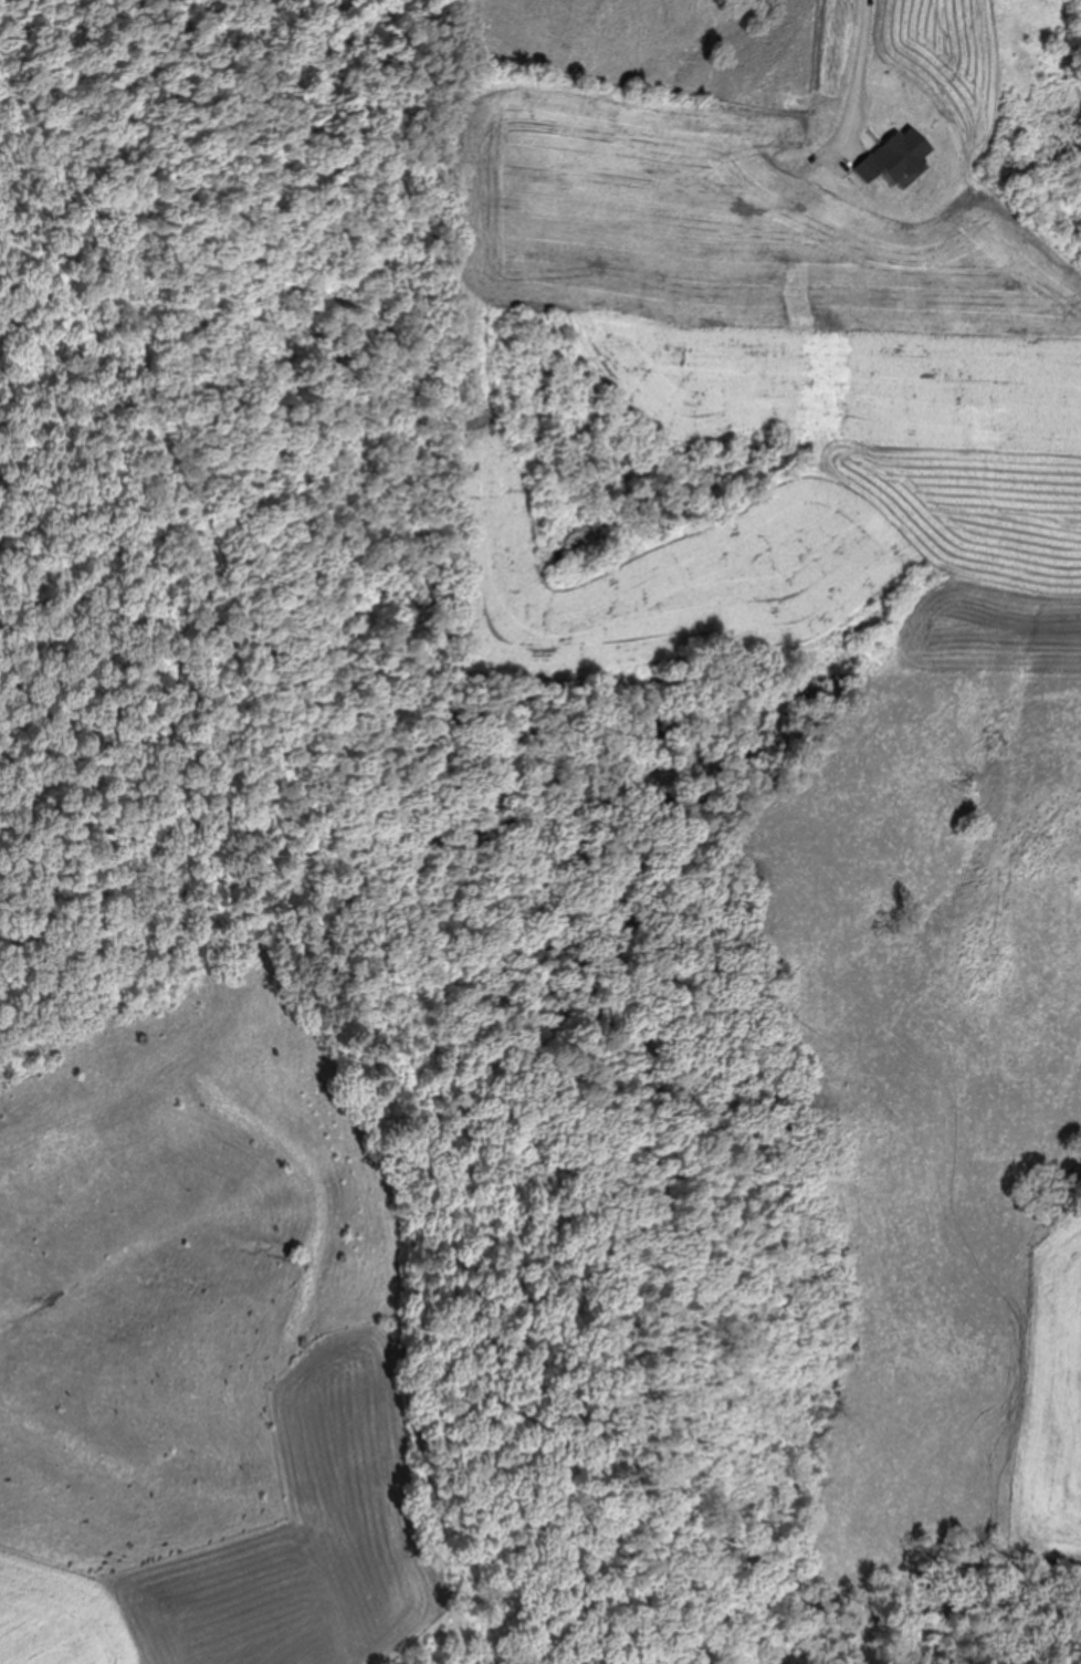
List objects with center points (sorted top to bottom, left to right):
road: (856, 62)

